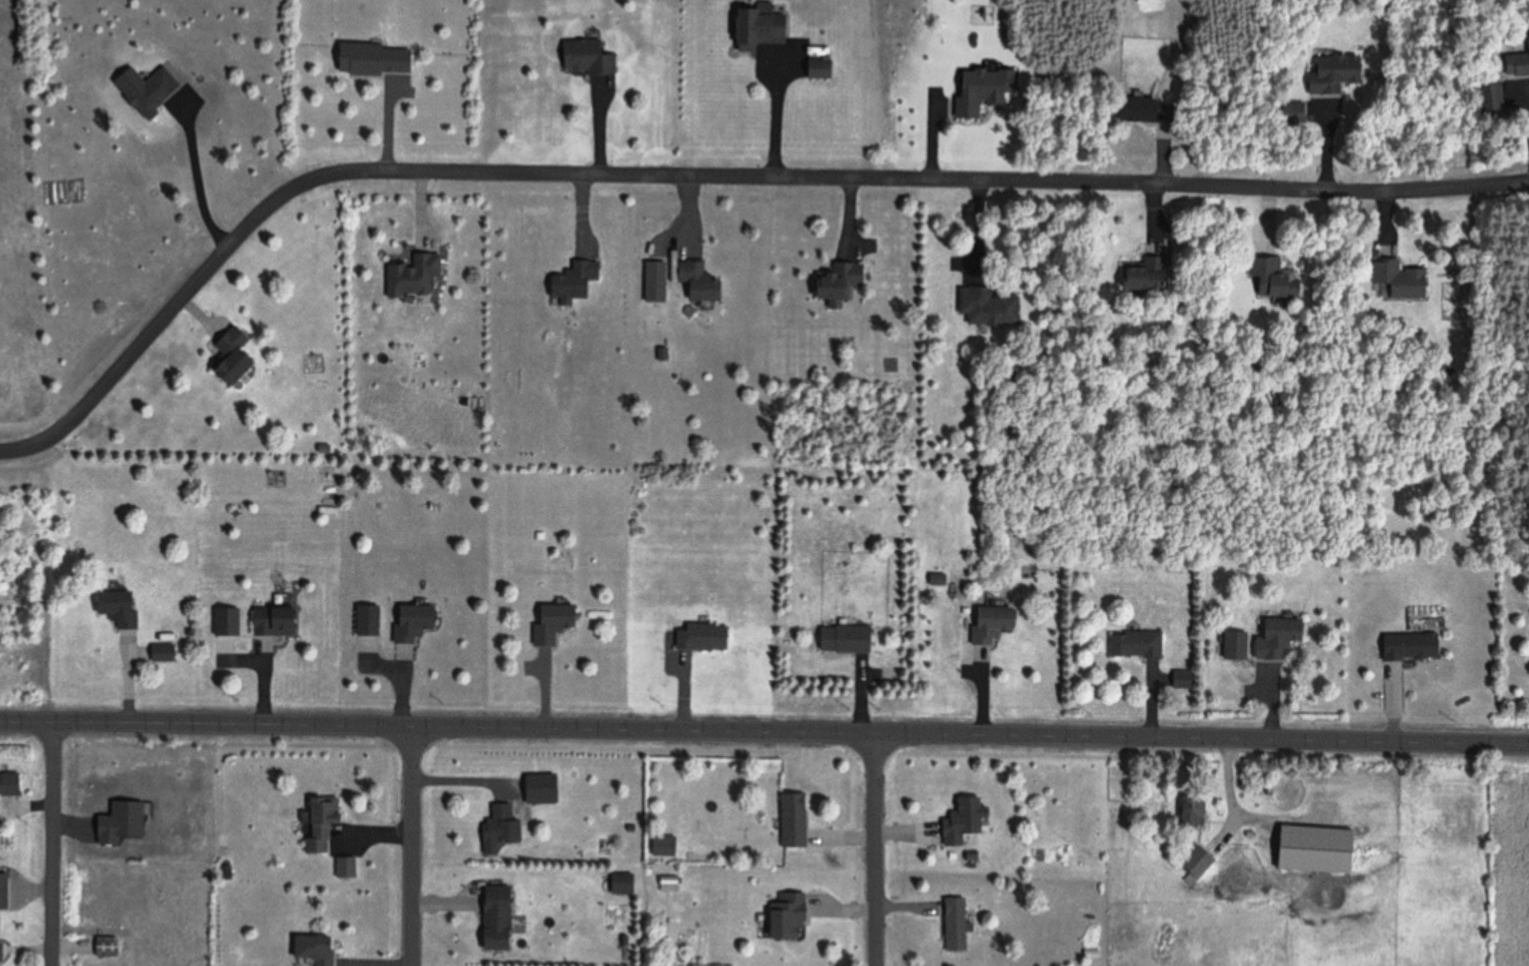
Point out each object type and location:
building: (765, 27)
building: (588, 56)
building: (380, 59)
building: (1514, 66)
building: (1328, 72)
building: (1486, 94)
building: (1137, 108)
road: (1526, 108)
road: (772, 117)
road: (203, 179)
road: (710, 181)
building: (1138, 273)
building: (1264, 276)
building: (700, 278)
building: (413, 279)
building: (580, 279)
building: (845, 279)
building: (1395, 279)
building: (981, 306)
building: (237, 355)
building: (122, 606)
building: (276, 619)
building: (371, 619)
building: (229, 620)
building: (415, 621)
building: (556, 621)
building: (986, 621)
building: (706, 635)
building: (849, 638)
building: (1254, 643)
building: (1131, 644)
building: (1405, 644)
building: (163, 653)
building: (1179, 679)
road: (764, 731)
building: (13, 784)
building: (323, 811)
building: (1188, 812)
building: (796, 819)
building: (966, 820)
building: (504, 823)
building: (318, 844)
road: (52, 846)
road: (412, 846)
road: (873, 849)
building: (1311, 849)
crop: (1511, 859)
building: (1194, 861)
building: (624, 882)
building: (792, 916)
building: (500, 917)
building: (957, 923)
building: (110, 945)
building: (2, 951)

